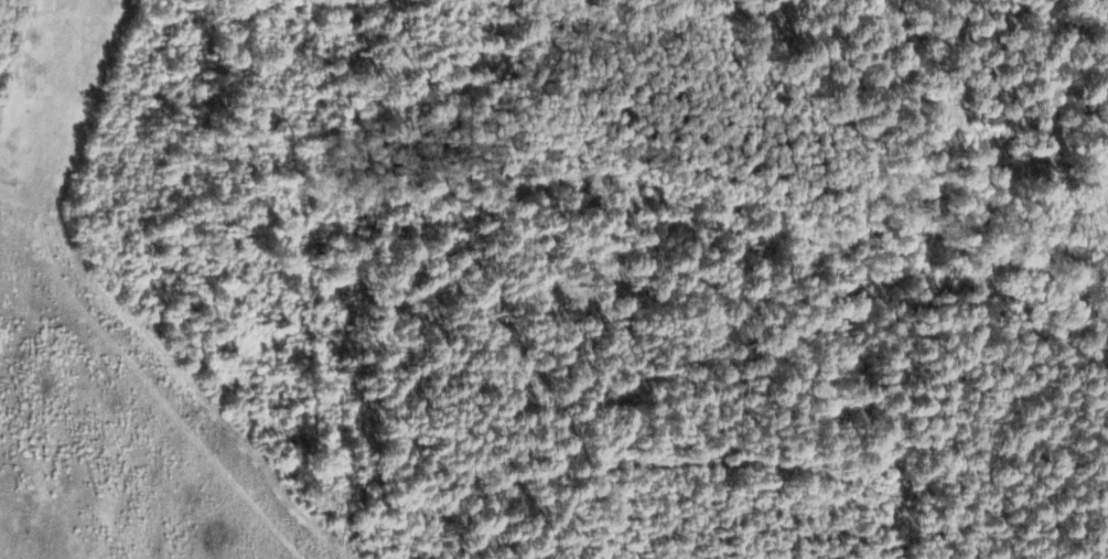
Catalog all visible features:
road: (853, 1)

